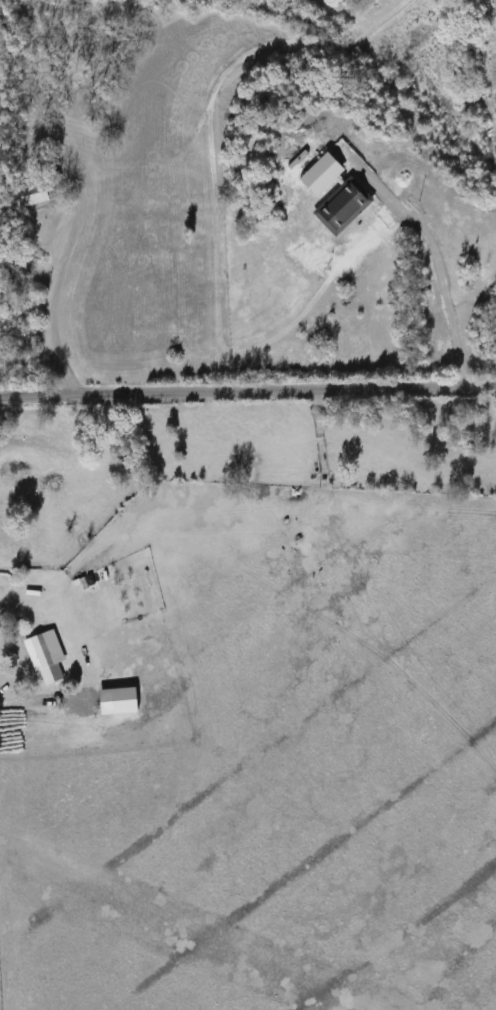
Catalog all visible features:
building: (31, 194)
road: (438, 264)
road: (58, 285)
road: (247, 392)
building: (41, 650)

